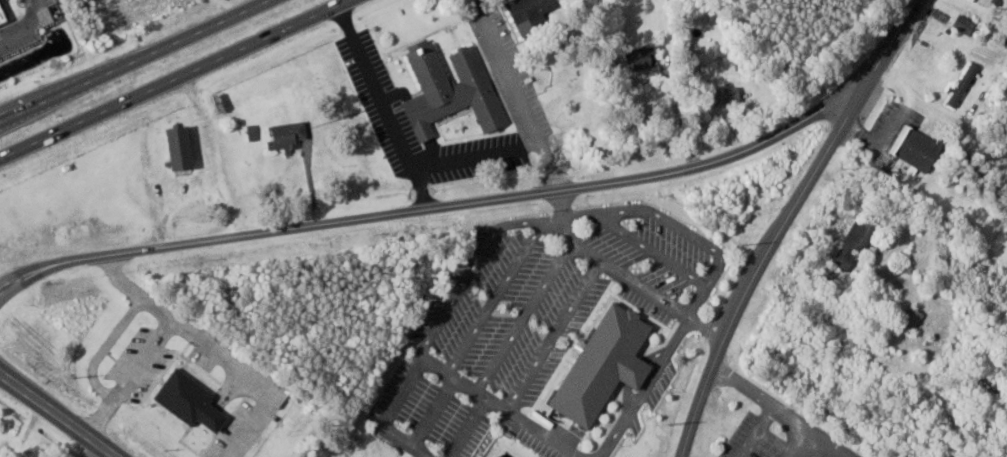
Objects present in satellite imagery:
building: (975, 0)
road: (36, 5)
building: (527, 13)
building: (968, 24)
road: (20, 26)
road: (128, 57)
building: (635, 57)
building: (649, 57)
road: (168, 73)
building: (966, 85)
building: (450, 89)
building: (726, 94)
road: (940, 114)
building: (251, 132)
building: (286, 137)
building: (176, 144)
building: (921, 149)
road: (439, 205)
road: (780, 220)
building: (860, 239)
building: (913, 317)
building: (603, 362)
building: (188, 399)
road: (765, 401)
road: (56, 416)

